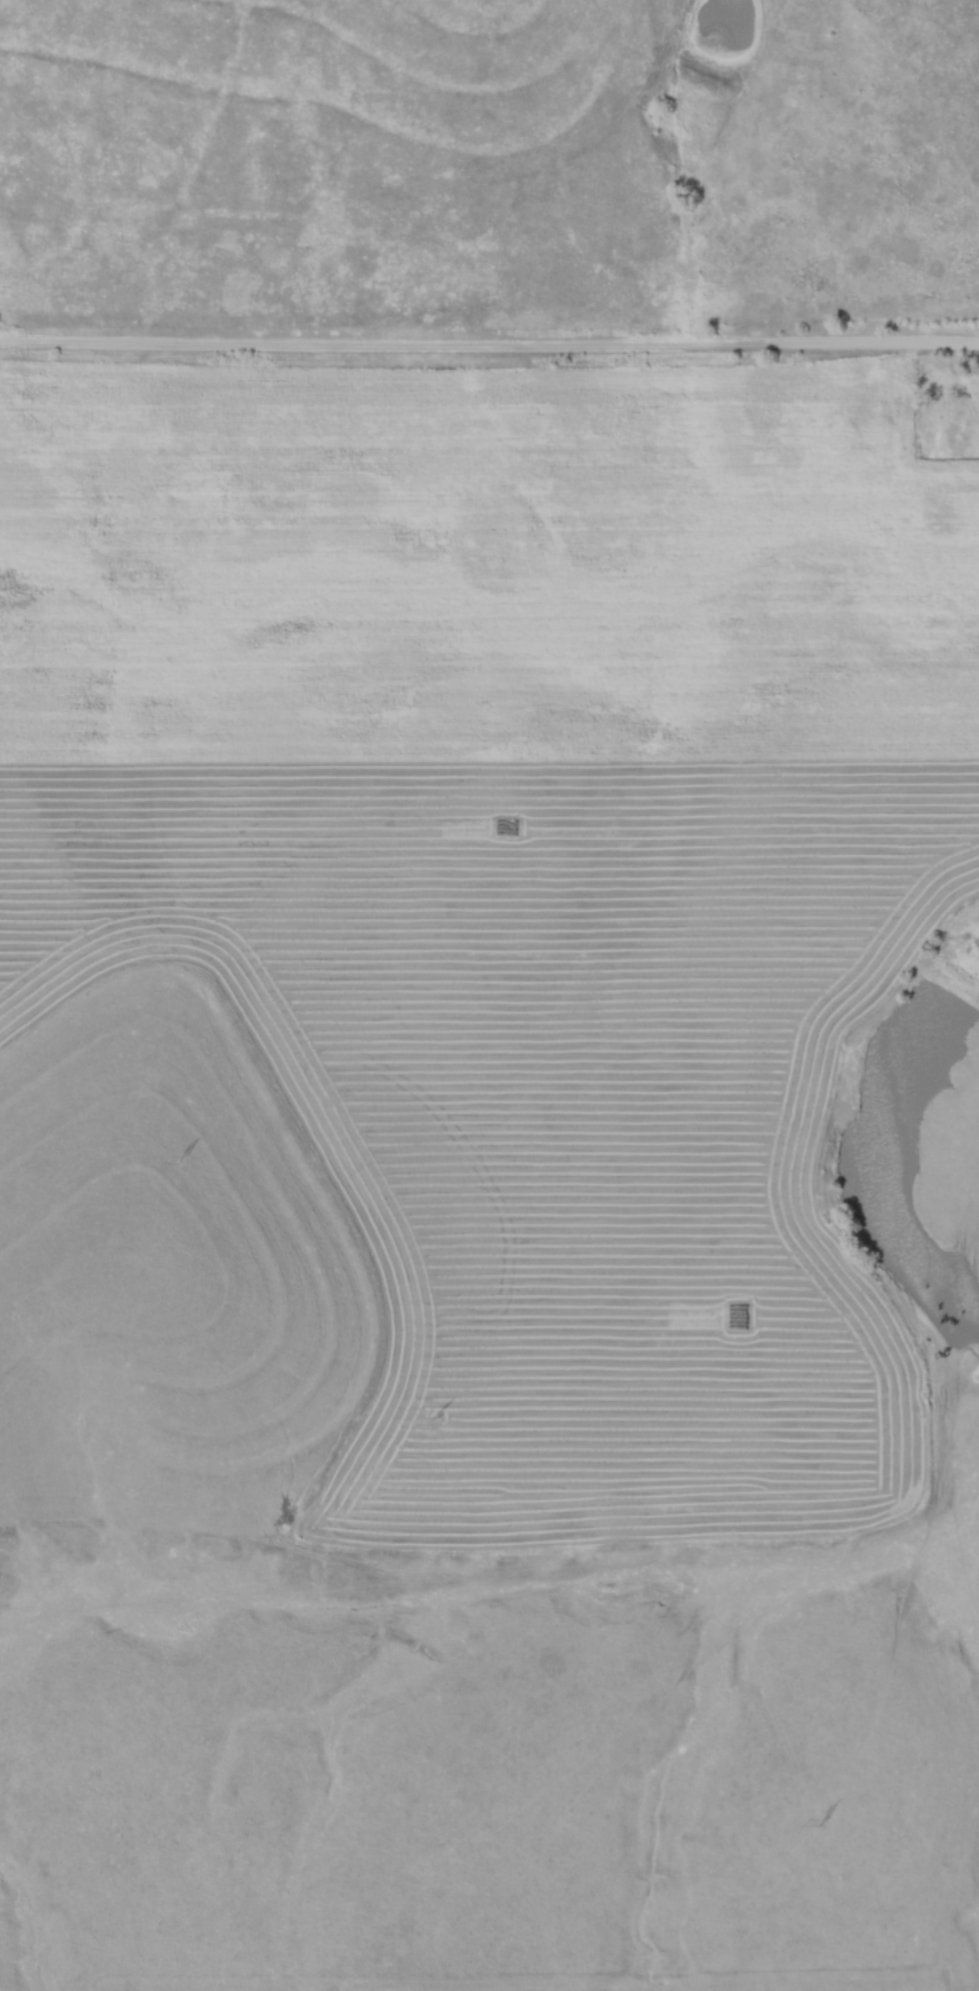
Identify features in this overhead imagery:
road: (489, 344)
power tower: (180, 1161)
power tower: (434, 1421)
power tower: (823, 1823)

